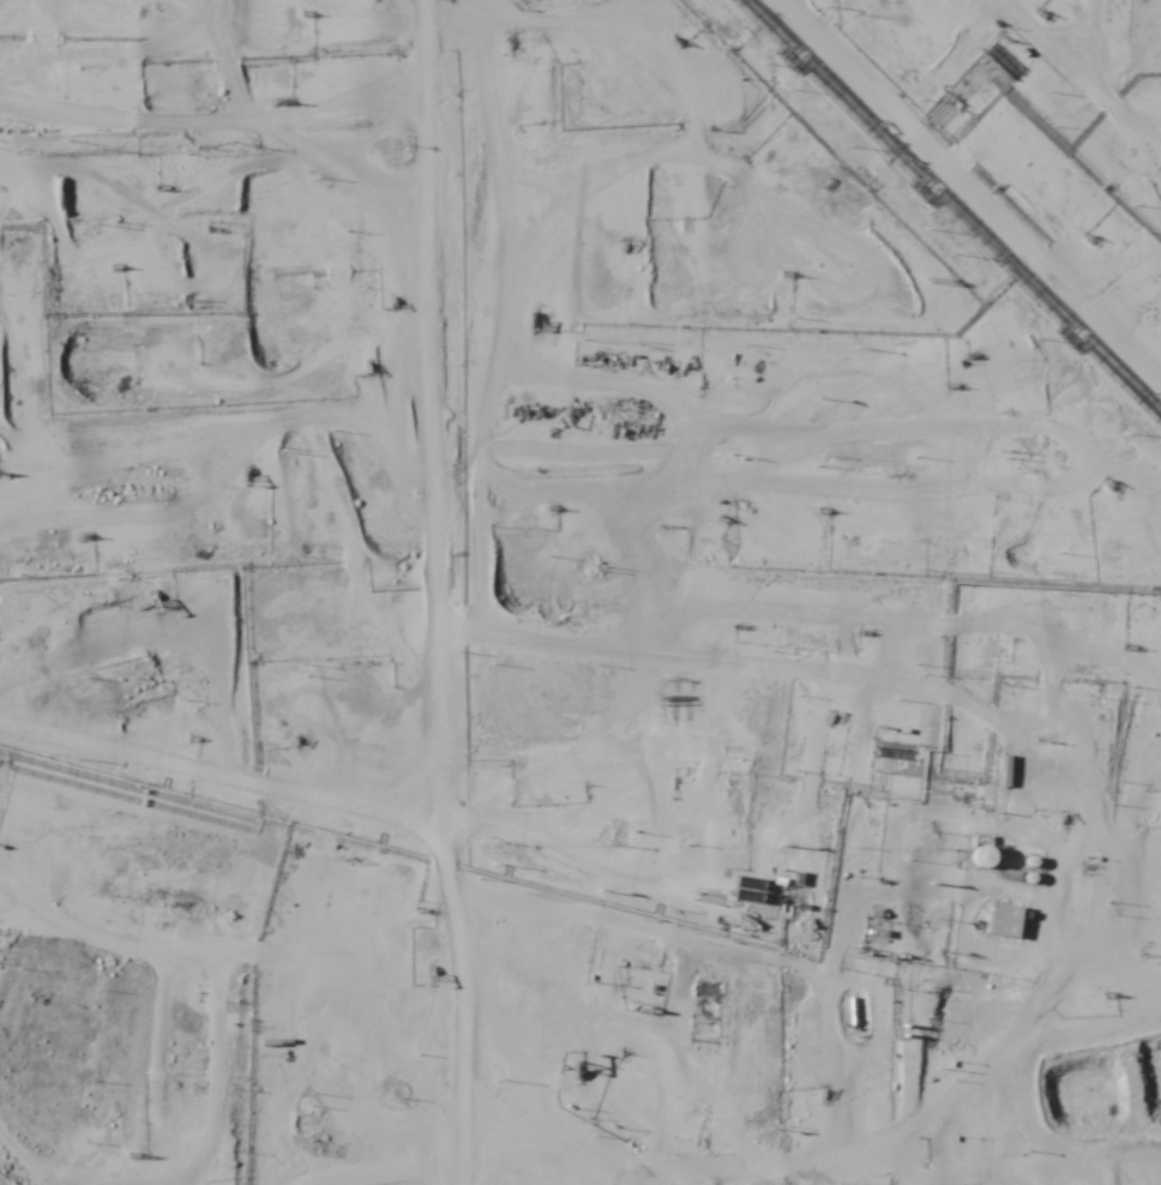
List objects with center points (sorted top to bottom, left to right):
building: (118, 1)
road: (217, 89)
road: (456, 578)
building: (985, 855)
building: (1004, 921)
building: (1013, 955)
wastewater plant: (1125, 1094)
building: (794, 1105)

